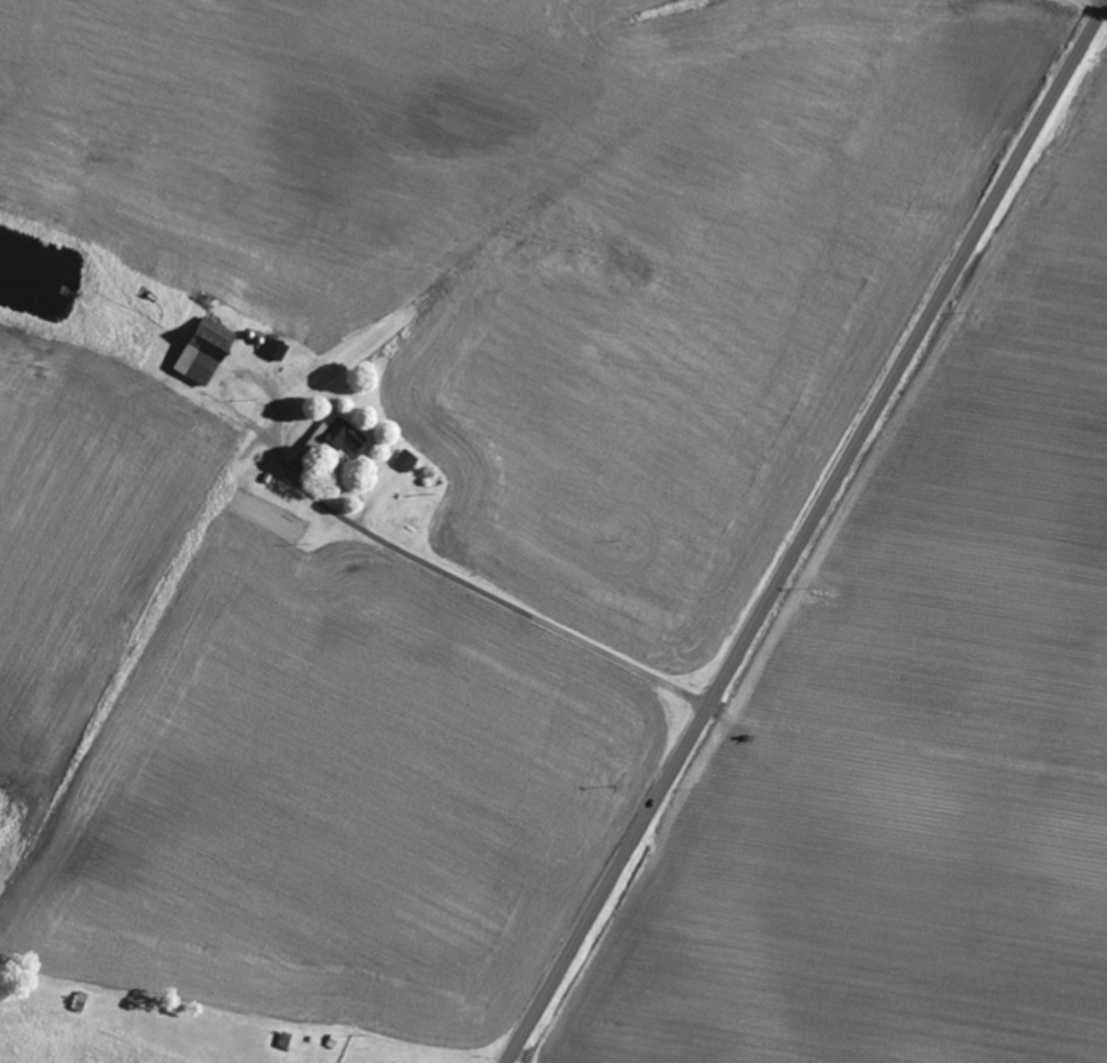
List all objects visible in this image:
building: (278, 350)
building: (206, 353)
building: (337, 437)
building: (409, 461)
road: (806, 534)
road: (536, 622)
building: (78, 996)
building: (287, 1034)
building: (331, 1036)
building: (291, 1042)
building: (393, 1060)

